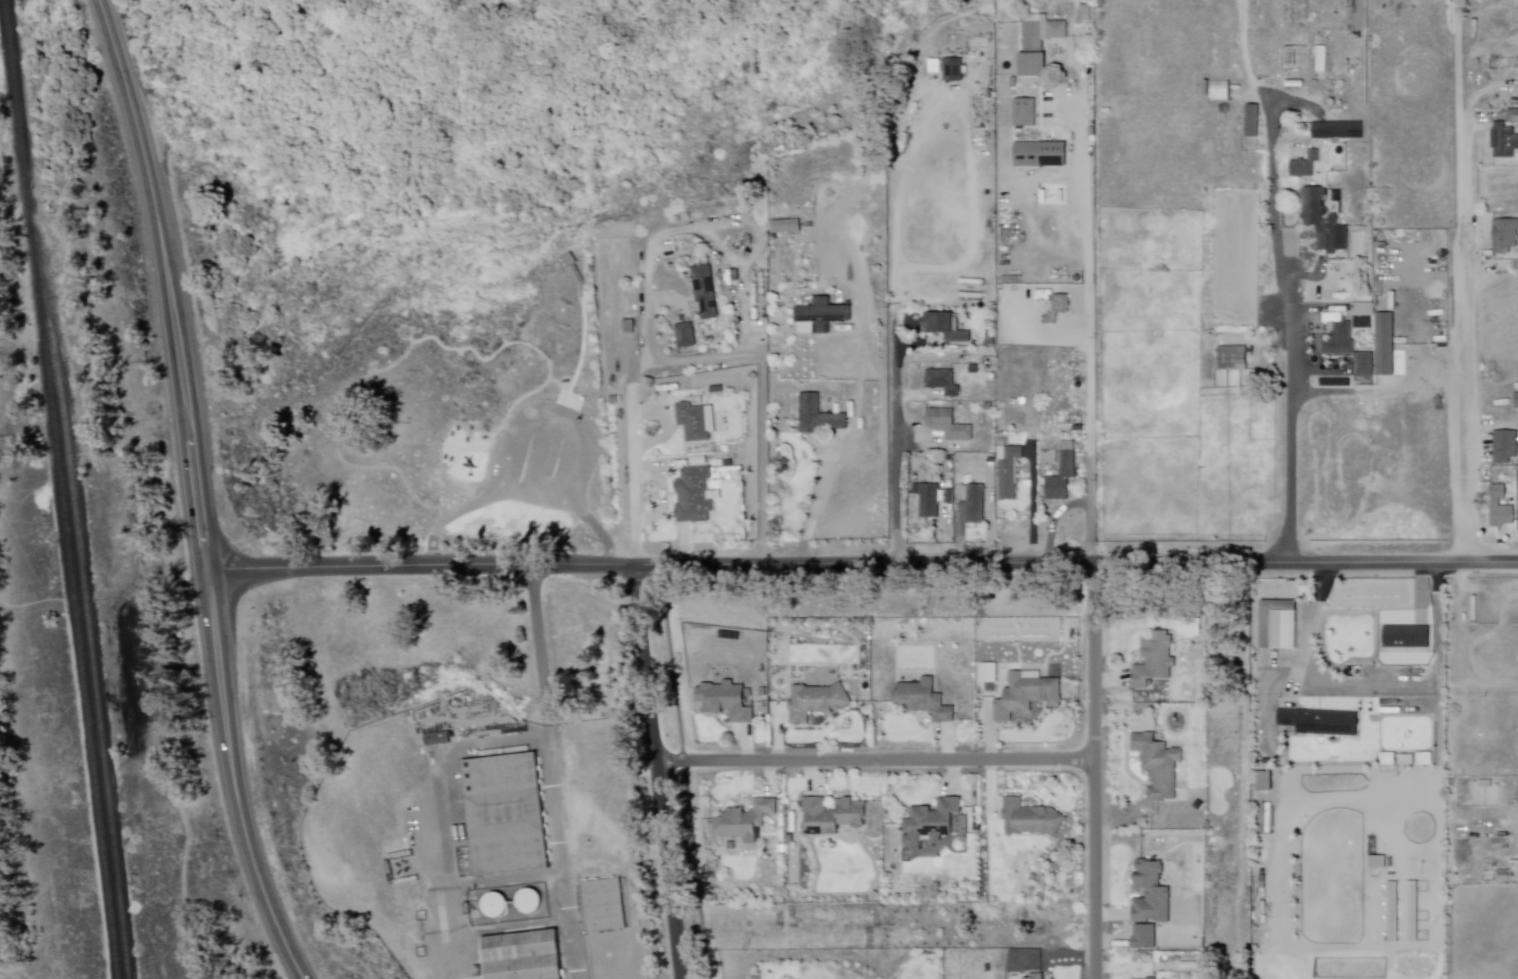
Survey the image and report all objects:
building: (1084, 13)
building: (1036, 42)
building: (1321, 59)
building: (941, 66)
building: (1338, 69)
building: (958, 70)
building: (1219, 91)
road: (1270, 97)
road: (1300, 104)
building: (1024, 113)
building: (1513, 116)
building: (1252, 122)
building: (1338, 130)
railway: (19, 141)
building: (1503, 141)
building: (1249, 145)
building: (1039, 155)
building: (1304, 166)
road: (1491, 168)
road: (154, 207)
building: (1323, 223)
building: (787, 225)
building: (1505, 236)
building: (707, 292)
road: (1466, 294)
building: (1056, 309)
building: (1363, 310)
building: (829, 315)
building: (943, 328)
building: (687, 335)
road: (1286, 335)
road: (1087, 336)
building: (1337, 336)
building: (1384, 345)
building: (1232, 358)
building: (1364, 364)
building: (942, 383)
road: (896, 397)
building: (1516, 401)
building: (822, 417)
building: (699, 422)
building: (947, 426)
building: (1505, 447)
building: (1048, 458)
building: (721, 464)
building: (1008, 470)
building: (1062, 475)
road: (629, 481)
building: (698, 496)
building: (949, 497)
building: (928, 501)
building: (973, 503)
building: (1500, 509)
road: (862, 568)
building: (1279, 625)
railway: (87, 630)
railway: (76, 631)
building: (1406, 638)
road: (1439, 658)
building: (1153, 661)
road: (544, 663)
building: (989, 672)
building: (763, 691)
building: (1025, 697)
building: (922, 701)
building: (730, 703)
building: (820, 703)
road: (224, 706)
building: (1288, 719)
building: (1331, 724)
building: (440, 737)
road: (874, 761)
building: (1404, 761)
building: (1157, 766)
road: (1093, 772)
road: (657, 773)
building: (1263, 784)
building: (1485, 785)
building: (506, 814)
building: (835, 815)
building: (1034, 818)
building: (1265, 818)
building: (750, 820)
building: (934, 822)
building: (731, 844)
building: (1377, 861)
building: (1150, 892)
storage tank: (534, 900)
building: (522, 902)
storage tank: (499, 904)
building: (603, 904)
building: (488, 906)
building: (1412, 911)
building: (1393, 912)
park: (24, 935)
building: (1146, 937)
building: (523, 956)
building: (1029, 976)
building: (1040, 976)
building: (1150, 978)

